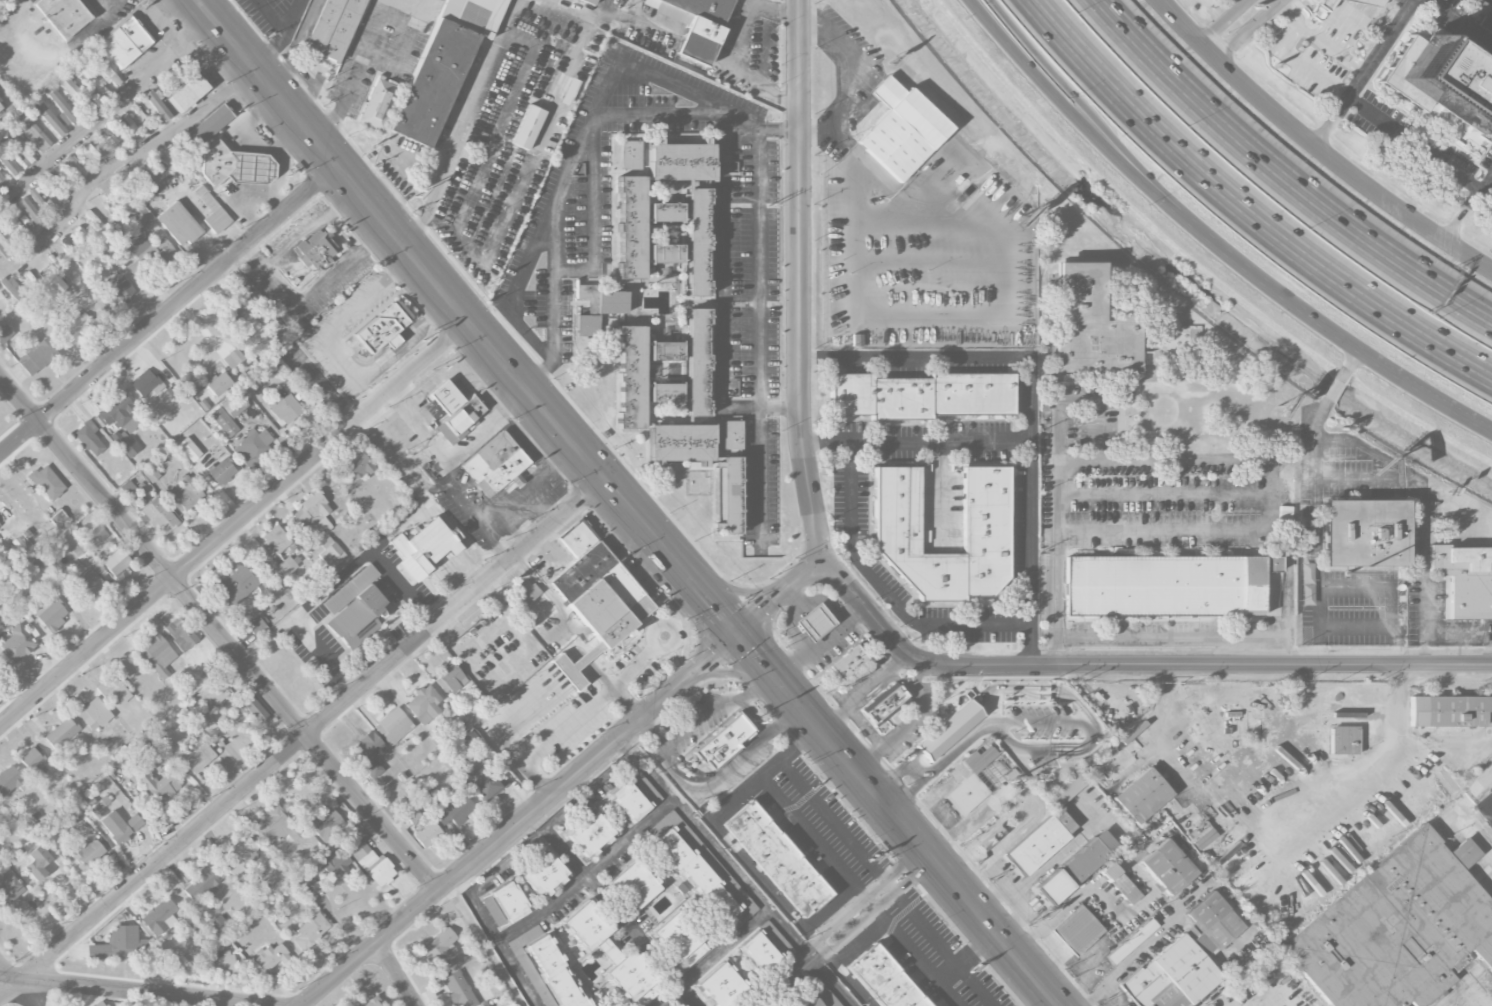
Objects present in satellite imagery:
road: (127, 1)
road: (130, 1)
building: (588, 1)
building: (1359, 2)
building: (1320, 8)
road: (788, 10)
building: (63, 15)
road: (293, 16)
road: (747, 20)
road: (1461, 20)
road: (1224, 21)
road: (1342, 22)
building: (694, 24)
building: (333, 28)
road: (1246, 29)
road: (283, 34)
road: (683, 35)
road: (1319, 39)
building: (126, 41)
road: (60, 55)
building: (443, 65)
road: (1364, 72)
building: (107, 73)
road: (357, 73)
road: (843, 77)
building: (91, 81)
building: (1441, 81)
building: (188, 91)
building: (568, 91)
building: (74, 93)
building: (379, 103)
road: (11, 104)
building: (157, 105)
building: (63, 107)
building: (0, 108)
road: (468, 108)
road: (106, 111)
road: (1373, 114)
building: (48, 117)
road: (1095, 117)
building: (126, 122)
road: (1078, 122)
building: (210, 125)
building: (527, 126)
road: (593, 127)
building: (902, 129)
building: (36, 135)
building: (112, 142)
road: (1315, 144)
building: (21, 150)
road: (576, 151)
building: (629, 154)
road: (117, 159)
building: (680, 161)
building: (7, 163)
building: (233, 165)
building: (75, 166)
road: (1282, 175)
building: (2, 180)
building: (113, 181)
building: (56, 185)
building: (34, 196)
road: (1468, 205)
building: (49, 208)
road: (1244, 208)
building: (211, 211)
building: (665, 211)
building: (31, 212)
building: (140, 215)
building: (93, 219)
building: (178, 224)
building: (630, 226)
road: (309, 229)
building: (17, 230)
road: (413, 233)
building: (697, 241)
building: (65, 245)
building: (315, 247)
building: (5, 248)
building: (150, 252)
building: (665, 253)
road: (256, 257)
building: (30, 278)
road: (721, 279)
road: (326, 280)
road: (799, 280)
road: (759, 285)
building: (55, 287)
building: (120, 290)
road: (514, 291)
road: (1289, 300)
building: (236, 307)
building: (597, 307)
road: (167, 310)
road: (946, 311)
road: (464, 317)
building: (1091, 324)
building: (383, 326)
building: (76, 329)
building: (277, 332)
building: (5, 334)
building: (665, 351)
building: (37, 356)
building: (233, 359)
building: (698, 361)
building: (630, 377)
building: (147, 384)
building: (218, 384)
building: (172, 392)
building: (665, 392)
road: (1029, 394)
building: (918, 395)
road: (1436, 397)
building: (234, 404)
building: (284, 408)
building: (455, 411)
building: (118, 415)
building: (224, 422)
building: (730, 434)
road: (1096, 435)
building: (89, 438)
road: (917, 439)
building: (124, 443)
building: (254, 446)
building: (189, 449)
road: (453, 456)
building: (496, 462)
building: (358, 465)
road: (1400, 470)
building: (222, 471)
building: (150, 474)
road: (760, 474)
road: (404, 475)
building: (47, 482)
road: (526, 493)
road: (1165, 493)
building: (188, 494)
building: (729, 499)
building: (985, 509)
building: (314, 512)
building: (158, 515)
building: (58, 518)
road: (234, 523)
building: (0, 526)
road: (1213, 527)
building: (96, 531)
building: (1363, 533)
road: (489, 537)
building: (29, 538)
building: (273, 541)
building: (18, 543)
building: (424, 547)
building: (330, 552)
building: (116, 562)
road: (1318, 562)
building: (289, 564)
building: (1465, 579)
building: (88, 581)
road: (330, 582)
building: (239, 583)
building: (1165, 586)
road: (883, 590)
road: (1392, 591)
building: (595, 596)
road: (778, 596)
road: (1287, 603)
building: (354, 609)
building: (50, 613)
building: (813, 621)
gas station: (813, 621)
road: (1427, 623)
building: (256, 626)
road: (1451, 631)
road: (219, 632)
traffic signals: (735, 633)
building: (181, 634)
road: (1161, 636)
building: (17, 644)
road: (669, 647)
building: (157, 655)
building: (847, 662)
road: (1136, 664)
road: (687, 674)
building: (449, 679)
road: (621, 680)
road: (864, 689)
building: (114, 691)
building: (211, 695)
building: (423, 705)
building: (884, 707)
building: (254, 708)
road: (916, 709)
building: (1448, 711)
building: (95, 714)
building: (393, 726)
road: (653, 730)
building: (948, 731)
building: (61, 733)
road: (557, 736)
road: (301, 738)
road: (875, 740)
building: (1344, 740)
building: (723, 741)
road: (1450, 745)
building: (169, 747)
building: (369, 753)
building: (198, 758)
building: (979, 758)
building: (33, 762)
road: (938, 762)
road: (671, 775)
building: (9, 781)
building: (488, 784)
building: (157, 786)
road: (590, 791)
building: (1142, 794)
building: (966, 795)
building: (629, 801)
road: (1038, 801)
building: (448, 807)
road: (790, 810)
road: (1462, 815)
building: (70, 816)
building: (413, 816)
road: (898, 818)
building: (120, 826)
building: (277, 826)
building: (328, 827)
building: (1046, 829)
building: (589, 833)
building: (427, 834)
building: (990, 838)
building: (88, 854)
road: (1274, 854)
road: (607, 855)
building: (1089, 855)
building: (240, 857)
building: (778, 859)
road: (471, 862)
building: (37, 863)
building: (336, 863)
building: (372, 864)
building: (1167, 866)
road: (1001, 872)
building: (543, 874)
building: (694, 875)
road: (485, 878)
building: (246, 880)
road: (887, 883)
building: (1119, 883)
building: (202, 884)
building: (9, 885)
building: (633, 885)
building: (311, 886)
building: (1052, 887)
road: (751, 888)
road: (1147, 893)
road: (1019, 896)
building: (509, 901)
road: (624, 916)
road: (833, 923)
building: (220, 927)
road: (519, 927)
road: (784, 927)
building: (1393, 928)
road: (850, 929)
building: (1077, 929)
building: (310, 932)
building: (679, 940)
building: (120, 945)
building: (440, 950)
building: (614, 953)
building: (761, 953)
building: (271, 957)
building: (1183, 959)
building: (222, 962)
road: (929, 969)
road: (3, 972)
road: (397, 972)
building: (555, 972)
road: (517, 973)
park: (2, 974)
road: (825, 975)
building: (885, 977)
building: (723, 986)
building: (458, 990)
road: (139, 991)
road: (30, 992)
building: (823, 993)
road: (950, 994)
building: (807, 1001)
building: (370, 1002)
building: (101, 1003)
building: (678, 1003)

